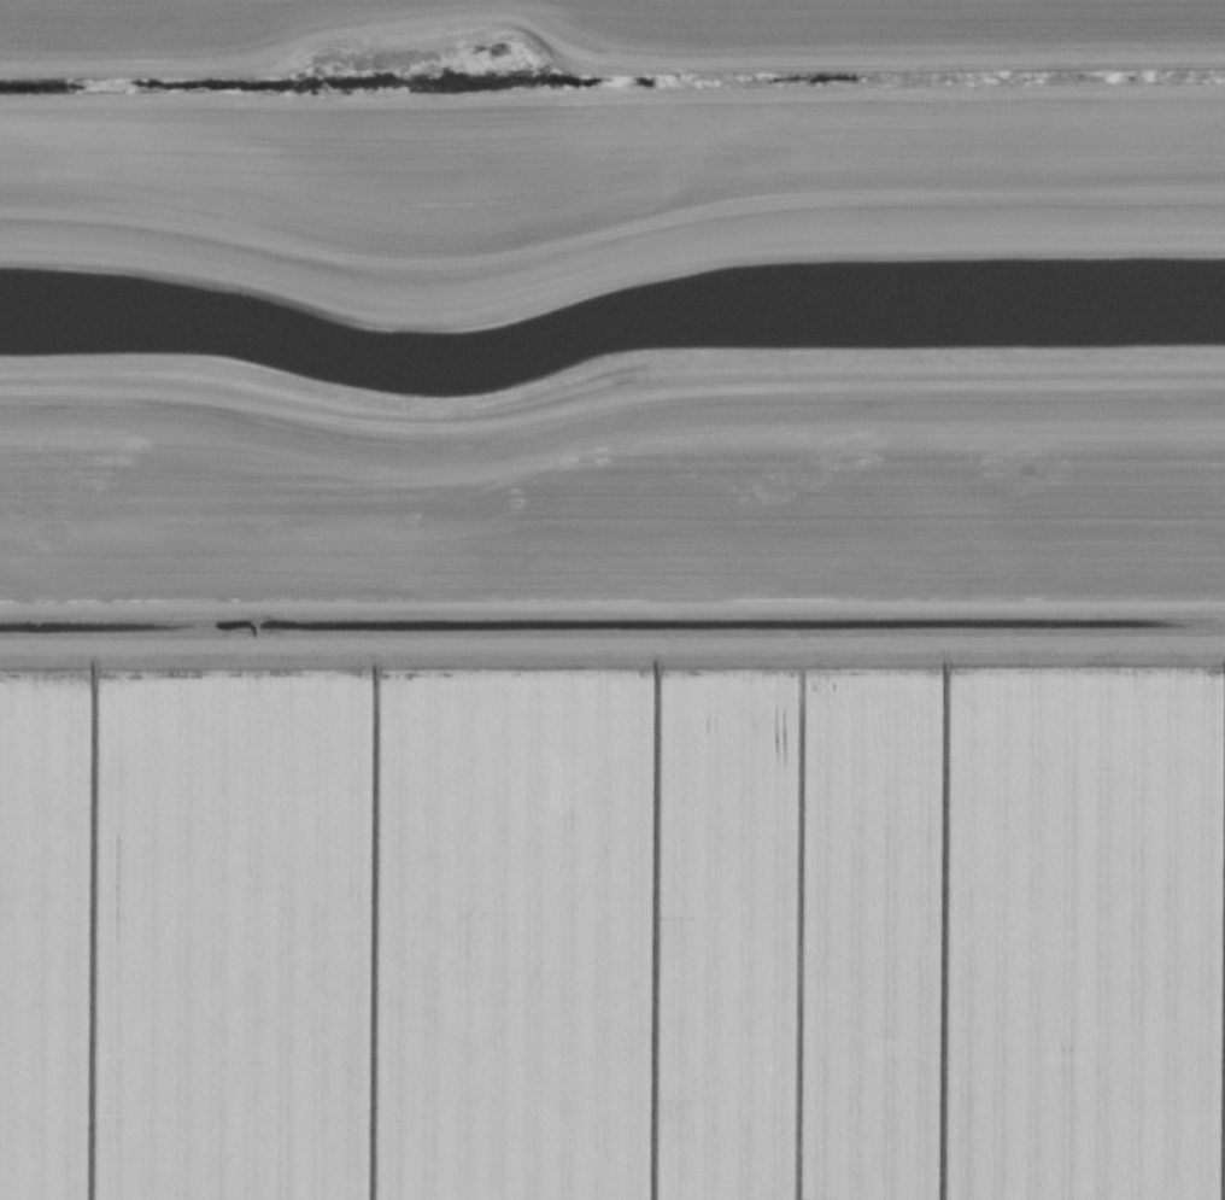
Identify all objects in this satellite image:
crop: (599, 31)
road: (609, 235)
river: (608, 311)
road: (606, 371)

